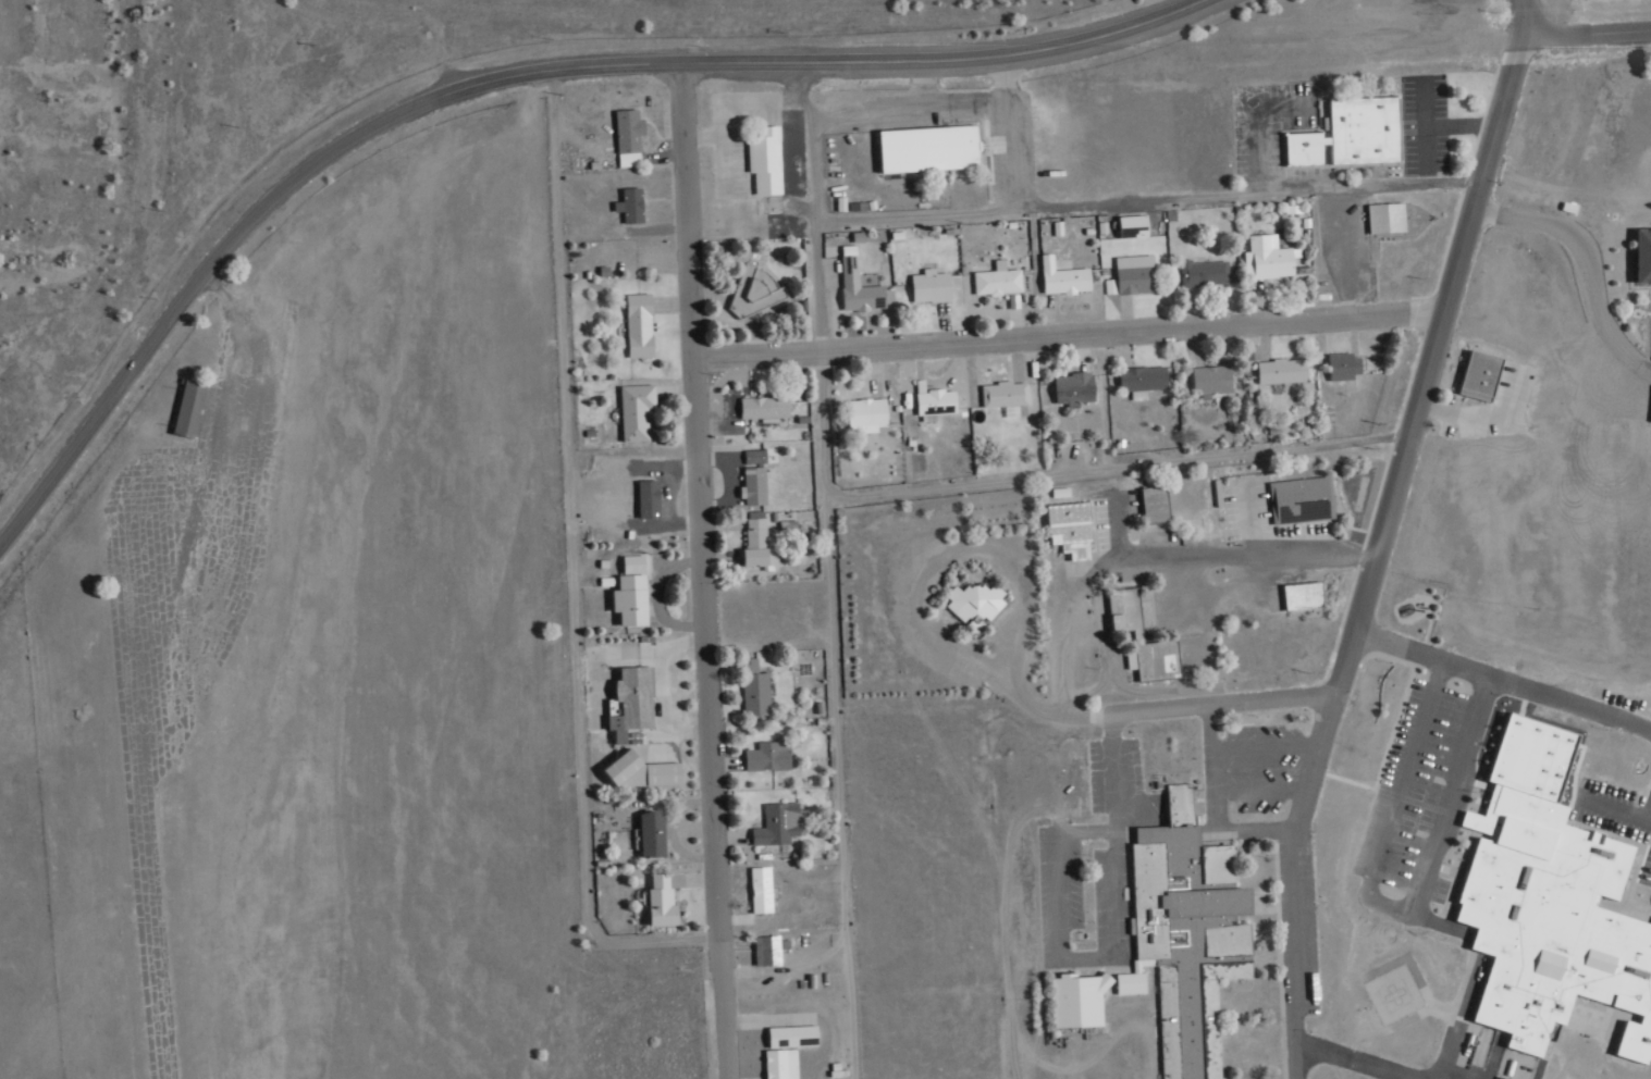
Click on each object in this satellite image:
road: (1585, 33)
road: (503, 76)
building: (1355, 126)
building: (629, 136)
building: (919, 145)
building: (1294, 145)
building: (766, 160)
road: (1145, 196)
building: (631, 204)
building: (1378, 213)
building: (1134, 225)
building: (1639, 252)
building: (1205, 272)
building: (1136, 274)
building: (1064, 277)
building: (999, 280)
building: (859, 284)
building: (932, 286)
building: (1111, 286)
building: (640, 324)
road: (1064, 334)
building: (1345, 365)
building: (1282, 370)
building: (1470, 372)
building: (1212, 379)
building: (1143, 380)
building: (1074, 388)
building: (1006, 395)
building: (936, 404)
building: (181, 405)
building: (765, 407)
building: (637, 411)
building: (867, 417)
building: (755, 456)
building: (754, 486)
road: (900, 487)
building: (1294, 496)
building: (649, 498)
building: (1146, 500)
building: (1071, 528)
road: (1377, 535)
building: (757, 544)
road: (1150, 551)
building: (633, 563)
road: (567, 567)
road: (700, 570)
building: (1295, 591)
building: (631, 599)
building: (976, 600)
road: (974, 667)
road: (1502, 673)
building: (756, 687)
building: (631, 702)
building: (769, 756)
building: (644, 773)
road: (834, 778)
airport runway: (138, 798)
building: (778, 824)
building: (653, 834)
building: (762, 890)
building: (662, 901)
road: (1396, 902)
building: (1543, 903)
building: (1183, 930)
building: (769, 950)
helipad: (1392, 990)
building: (1069, 996)
road: (557, 1035)
building: (793, 1035)
road: (1358, 1059)
building: (781, 1063)

